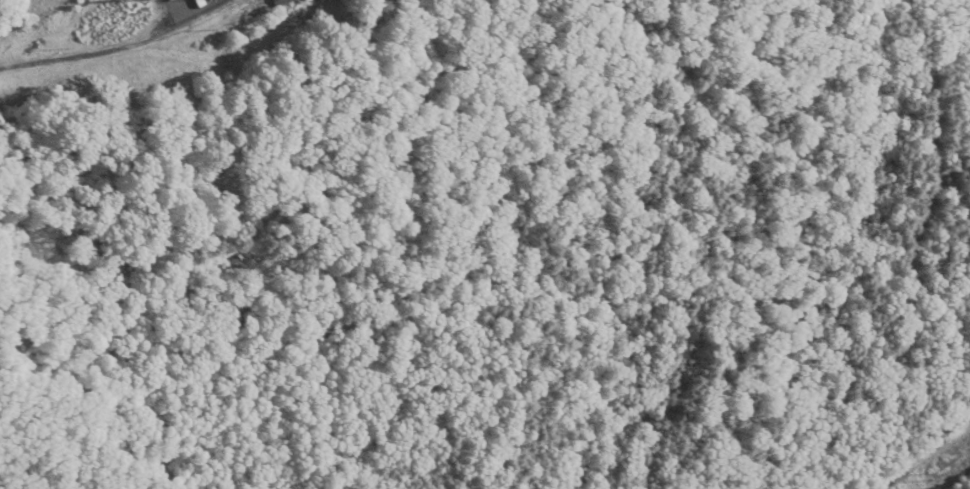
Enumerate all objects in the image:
building: (279, 4)
road: (79, 54)

